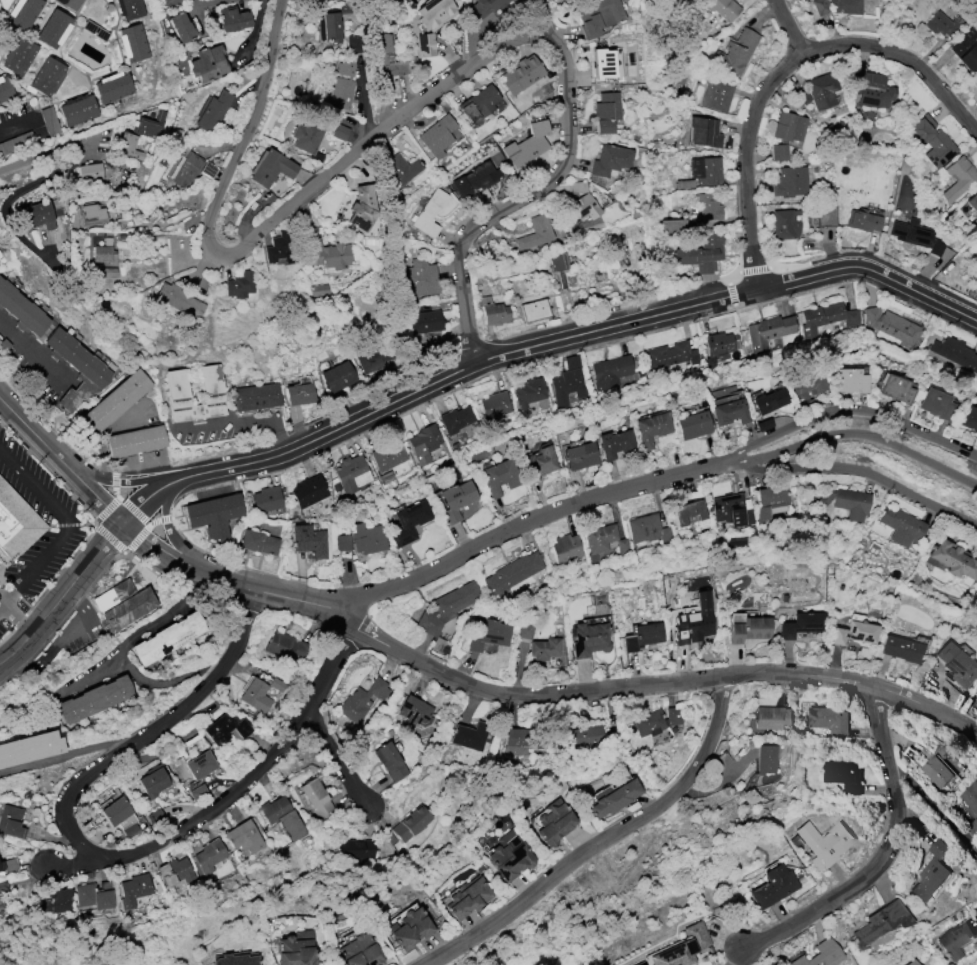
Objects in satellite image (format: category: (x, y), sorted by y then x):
building: (169, 2)
road: (208, 2)
building: (72, 4)
building: (484, 6)
building: (846, 6)
building: (821, 7)
building: (723, 8)
building: (130, 9)
building: (23, 13)
building: (598, 16)
building: (232, 19)
road: (544, 19)
building: (432, 23)
building: (944, 25)
building: (180, 27)
building: (329, 27)
building: (54, 29)
building: (96, 31)
building: (133, 43)
building: (966, 49)
building: (735, 53)
building: (19, 56)
building: (386, 58)
road: (905, 60)
building: (606, 63)
building: (207, 64)
building: (346, 68)
building: (520, 74)
building: (976, 75)
building: (46, 76)
building: (113, 87)
building: (869, 88)
building: (5, 89)
building: (822, 90)
building: (341, 93)
building: (716, 95)
road: (420, 100)
building: (479, 103)
building: (78, 110)
building: (212, 111)
building: (606, 112)
building: (50, 121)
building: (152, 125)
road: (15, 128)
road: (747, 131)
building: (339, 132)
building: (704, 132)
building: (785, 133)
building: (437, 136)
building: (307, 138)
building: (931, 141)
building: (16, 143)
building: (527, 144)
building: (127, 146)
road: (48, 153)
building: (610, 160)
building: (270, 168)
building: (402, 169)
building: (192, 170)
building: (706, 171)
building: (91, 172)
building: (958, 178)
building: (476, 179)
building: (783, 182)
building: (684, 184)
road: (14, 193)
building: (972, 202)
building: (708, 207)
building: (362, 208)
building: (579, 209)
building: (428, 213)
building: (825, 214)
building: (93, 215)
building: (37, 216)
building: (862, 221)
building: (784, 224)
building: (672, 226)
building: (535, 233)
building: (916, 235)
building: (280, 248)
building: (325, 251)
building: (103, 254)
building: (702, 254)
building: (557, 262)
building: (418, 278)
building: (239, 285)
building: (178, 300)
building: (535, 309)
building: (21, 310)
building: (494, 312)
building: (825, 318)
building: (426, 322)
building: (891, 325)
building: (49, 329)
building: (769, 332)
road: (586, 334)
building: (718, 346)
building: (955, 353)
road: (32, 354)
building: (671, 355)
building: (374, 359)
building: (76, 368)
building: (611, 372)
building: (337, 377)
building: (850, 381)
building: (568, 382)
building: (211, 388)
building: (897, 389)
building: (808, 390)
building: (529, 394)
building: (299, 395)
building: (256, 397)
building: (770, 401)
building: (114, 402)
building: (936, 404)
building: (495, 405)
road: (847, 411)
building: (730, 412)
building: (969, 418)
road: (246, 420)
building: (459, 422)
building: (693, 425)
building: (764, 425)
building: (652, 428)
road: (106, 430)
road: (851, 434)
building: (134, 441)
building: (424, 443)
building: (615, 443)
road: (53, 451)
building: (388, 456)
building: (580, 456)
building: (538, 463)
road: (854, 470)
building: (352, 473)
building: (500, 476)
road: (185, 480)
road: (138, 481)
building: (309, 491)
building: (267, 499)
building: (456, 499)
building: (848, 502)
building: (771, 503)
road: (146, 505)
building: (732, 510)
building: (688, 512)
building: (214, 515)
road: (116, 516)
road: (522, 520)
building: (410, 522)
building: (17, 524)
building: (902, 526)
road: (69, 527)
building: (648, 529)
road: (171, 531)
building: (368, 539)
building: (309, 540)
building: (606, 540)
building: (259, 542)
parking lot: (54, 543)
building: (342, 543)
building: (736, 544)
building: (566, 549)
building: (952, 559)
building: (513, 573)
road: (64, 599)
building: (123, 604)
building: (448, 607)
road: (18, 613)
building: (694, 621)
building: (802, 625)
building: (747, 628)
building: (525, 630)
building: (855, 633)
building: (488, 635)
building: (589, 637)
building: (642, 637)
building: (168, 638)
building: (284, 645)
road: (123, 649)
building: (544, 649)
building: (901, 649)
road: (409, 660)
building: (957, 664)
road: (856, 681)
building: (276, 685)
building: (256, 695)
building: (976, 696)
building: (95, 699)
building: (361, 701)
building: (415, 711)
building: (771, 717)
building: (830, 720)
building: (656, 721)
building: (225, 729)
building: (470, 736)
building: (588, 736)
building: (516, 742)
building: (29, 748)
building: (766, 759)
building: (391, 762)
road: (338, 764)
building: (200, 765)
building: (936, 771)
building: (845, 774)
building: (153, 782)
building: (197, 792)
building: (614, 797)
building: (316, 798)
building: (968, 798)
road: (930, 800)
building: (115, 811)
building: (282, 817)
building: (11, 821)
building: (411, 824)
building: (553, 824)
building: (972, 827)
building: (243, 837)
road: (606, 841)
building: (821, 843)
building: (355, 849)
road: (95, 852)
building: (210, 855)
building: (510, 856)
road: (875, 859)
building: (1, 866)
building: (932, 871)
building: (175, 872)
building: (773, 886)
building: (133, 889)
building: (3, 893)
building: (93, 897)
building: (468, 898)
building: (56, 901)
building: (880, 922)
building: (410, 928)
building: (955, 940)
building: (683, 947)
building: (296, 949)
building: (361, 951)
building: (821, 955)
road: (727, 957)
building: (233, 959)
building: (911, 963)

